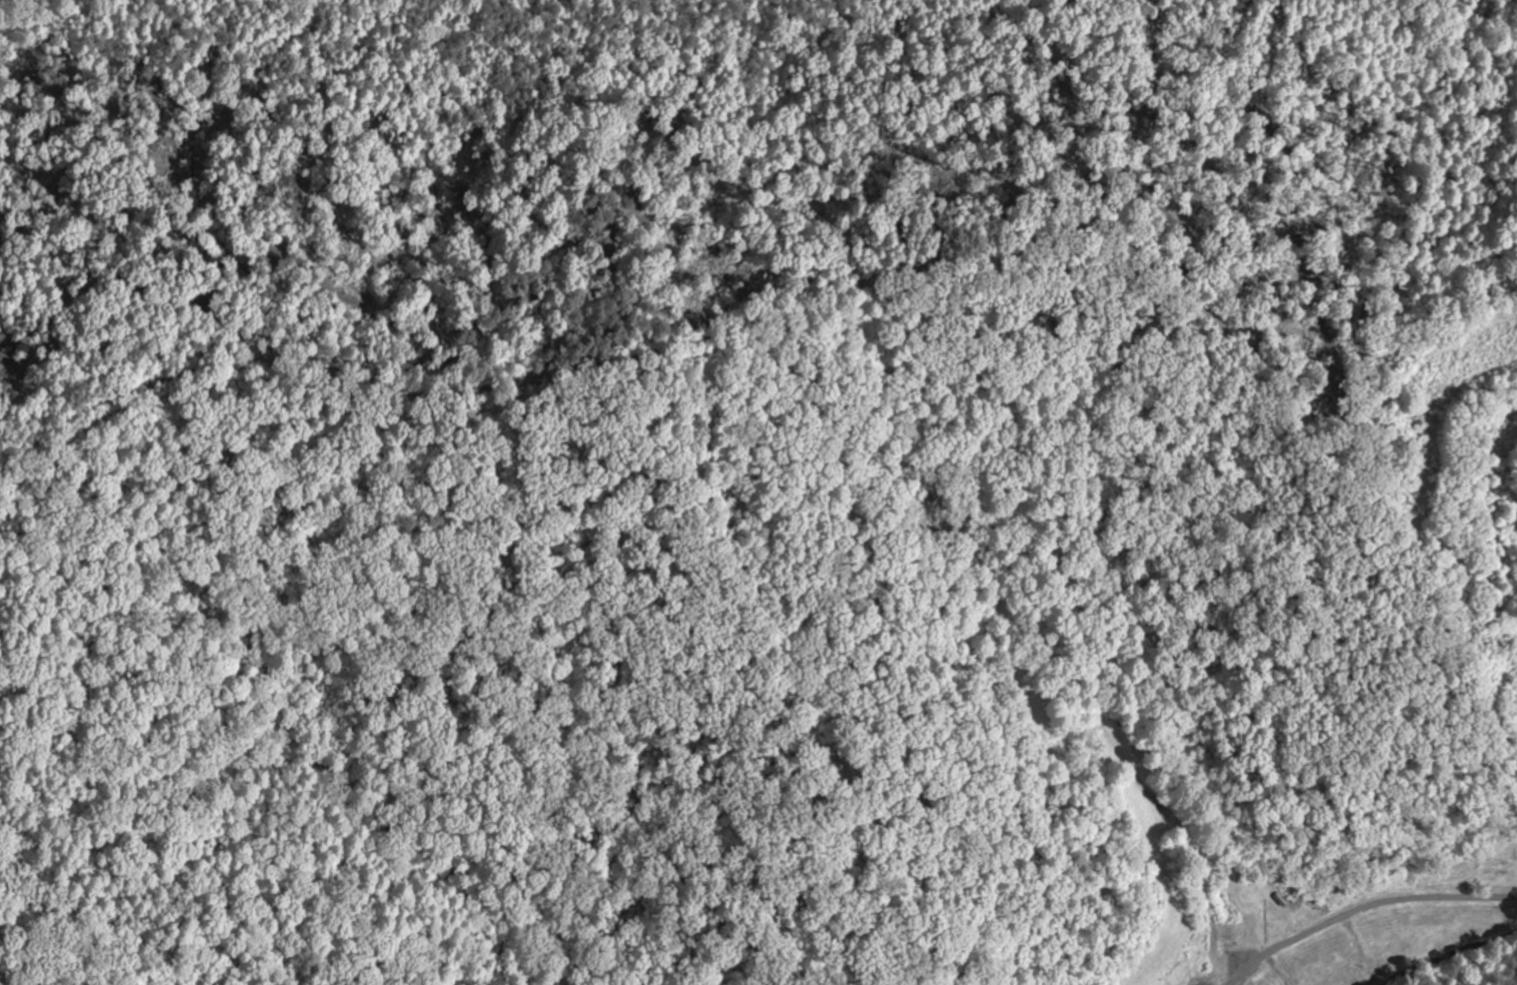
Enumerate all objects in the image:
road: (1364, 908)

